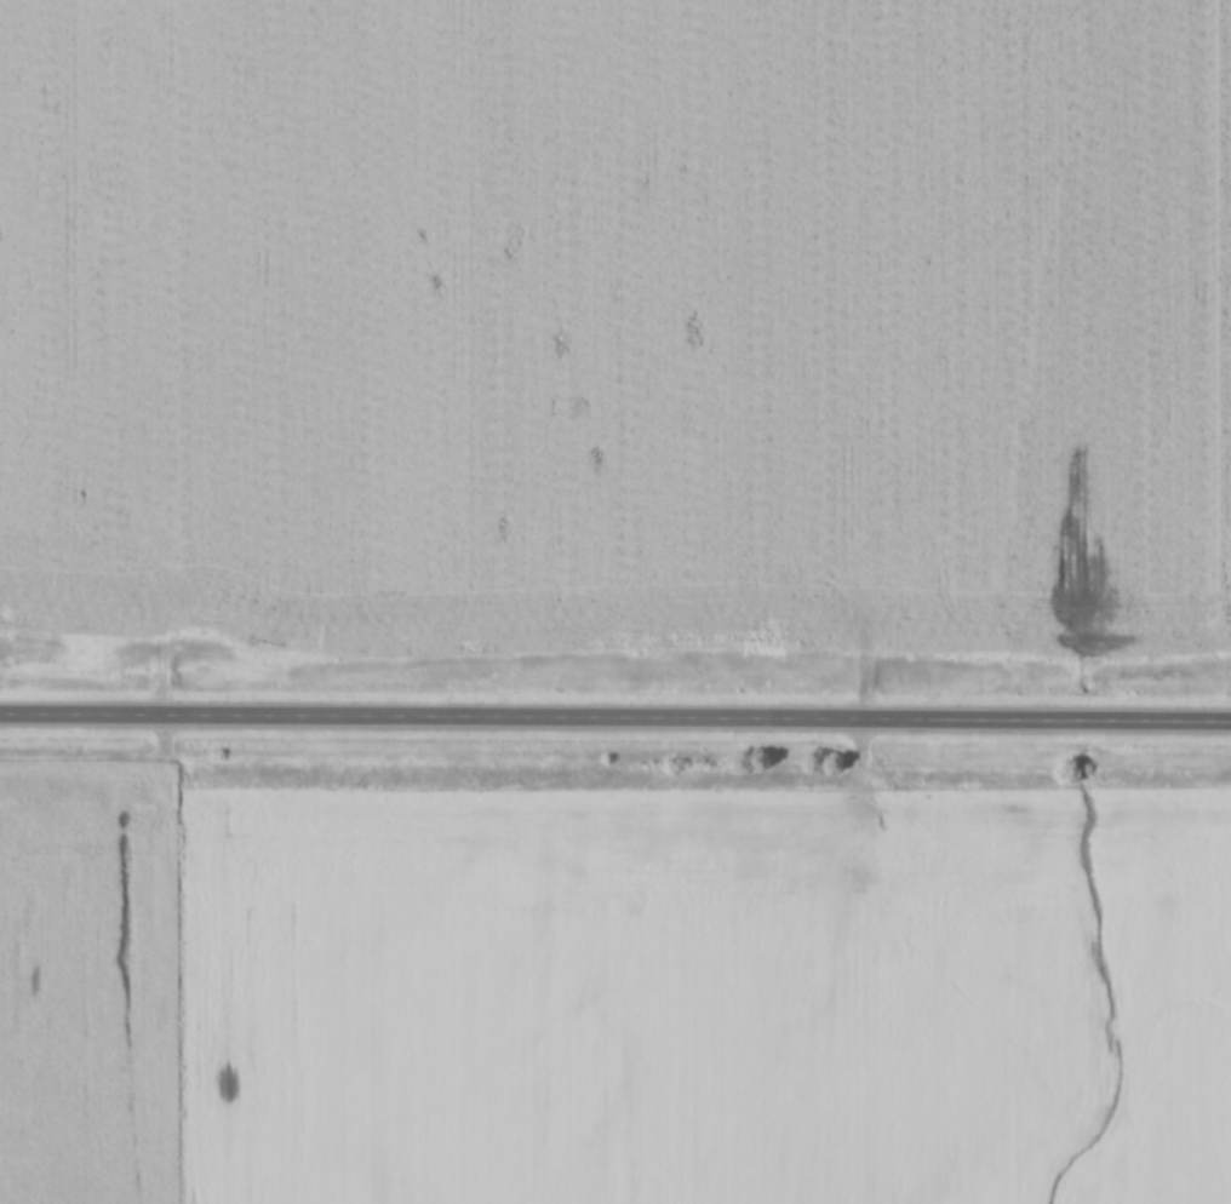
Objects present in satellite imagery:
road: (615, 703)

